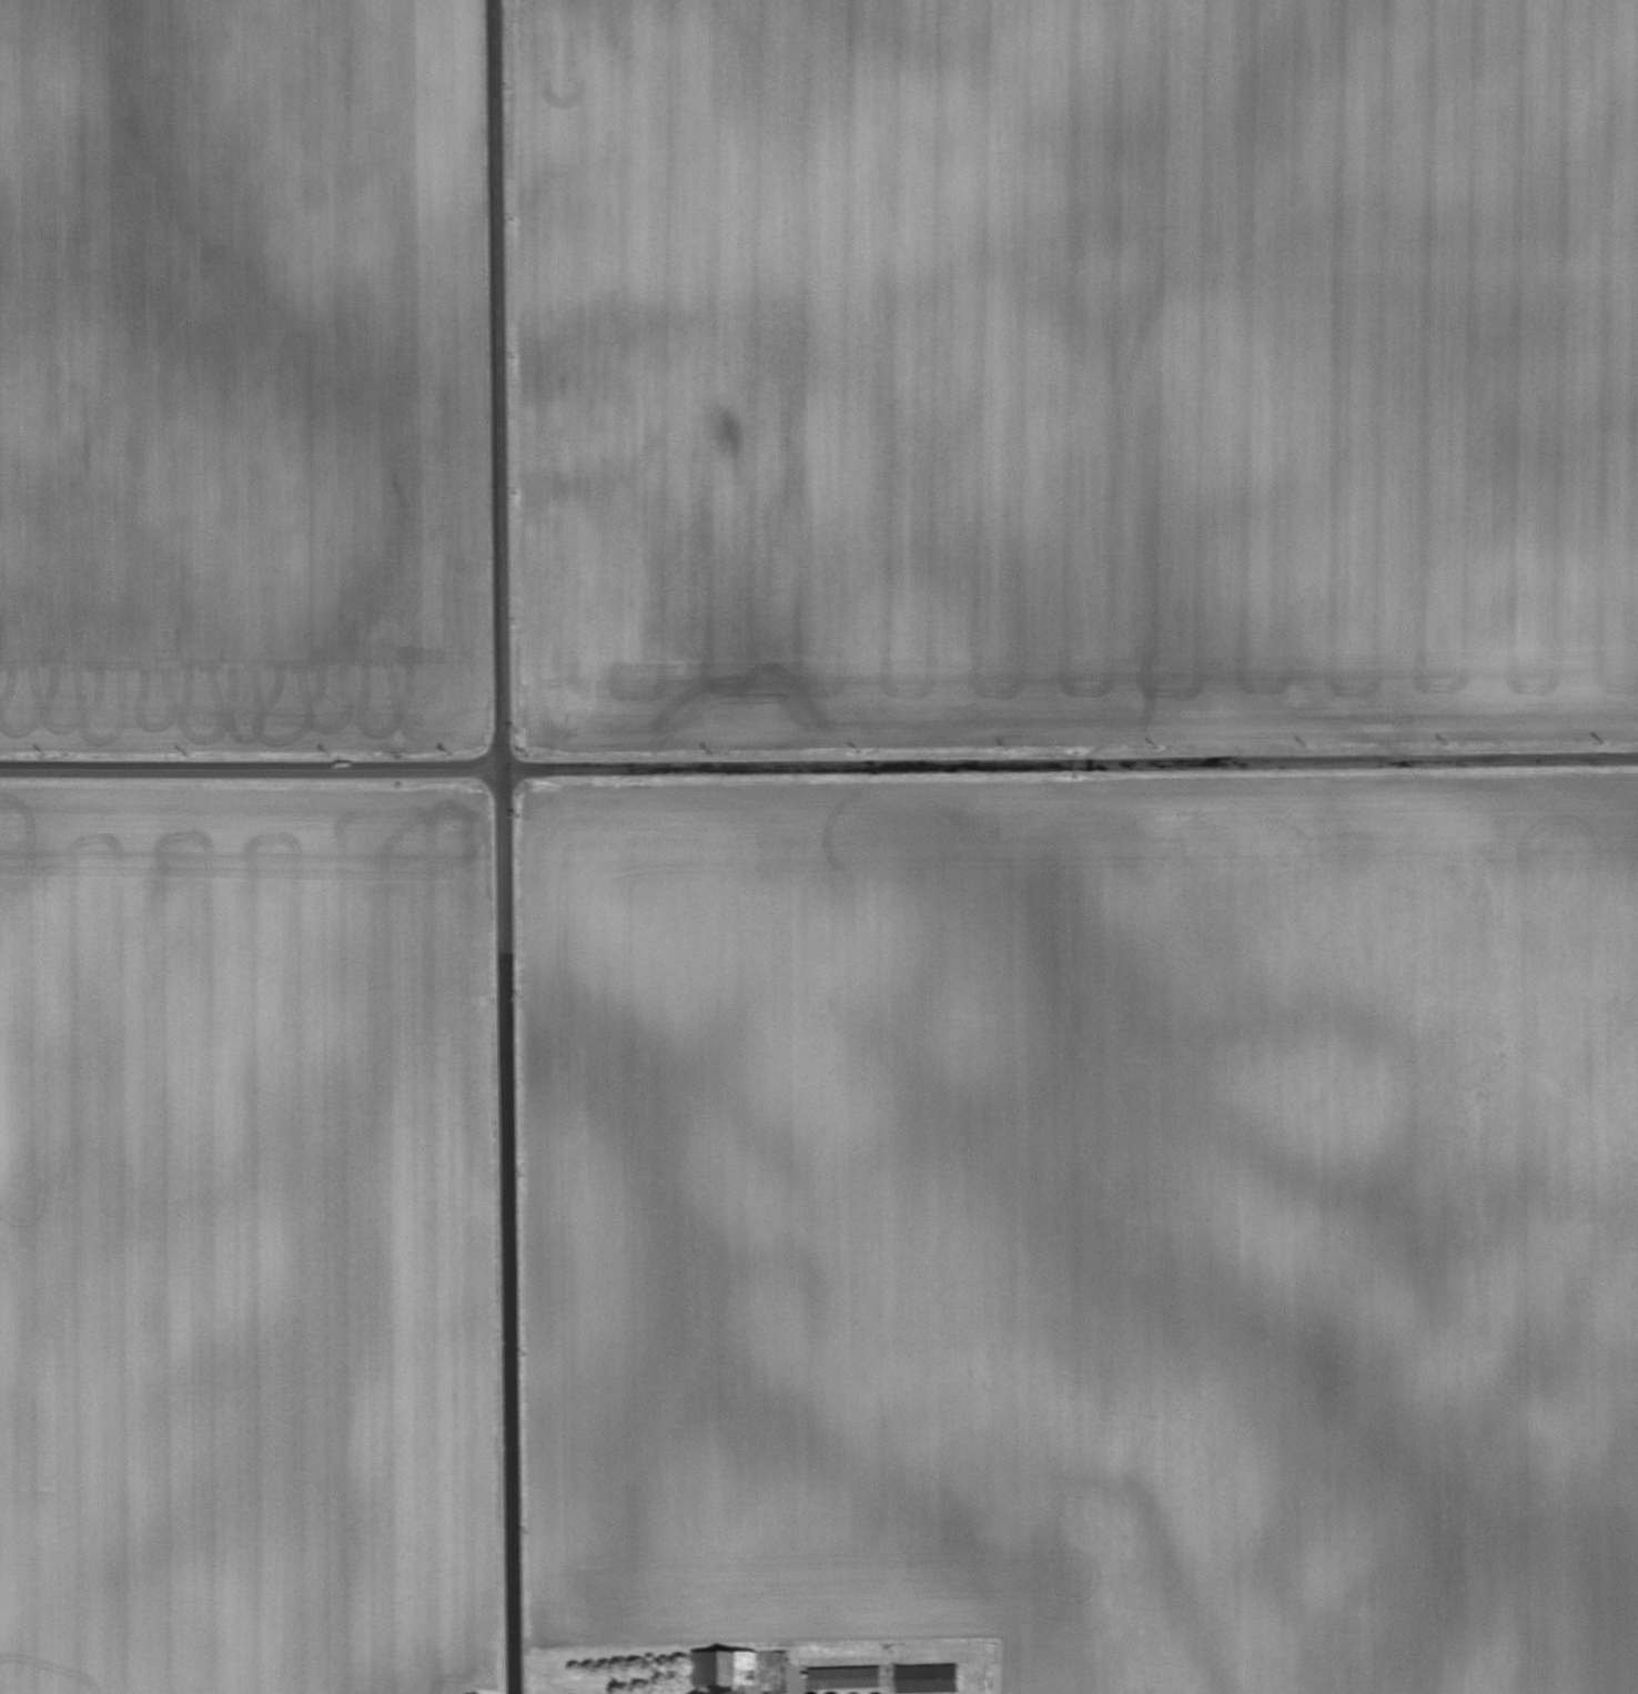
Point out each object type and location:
road: (819, 764)
road: (504, 846)
building: (724, 1667)
building: (843, 1677)
building: (926, 1678)
road: (712, 1693)

